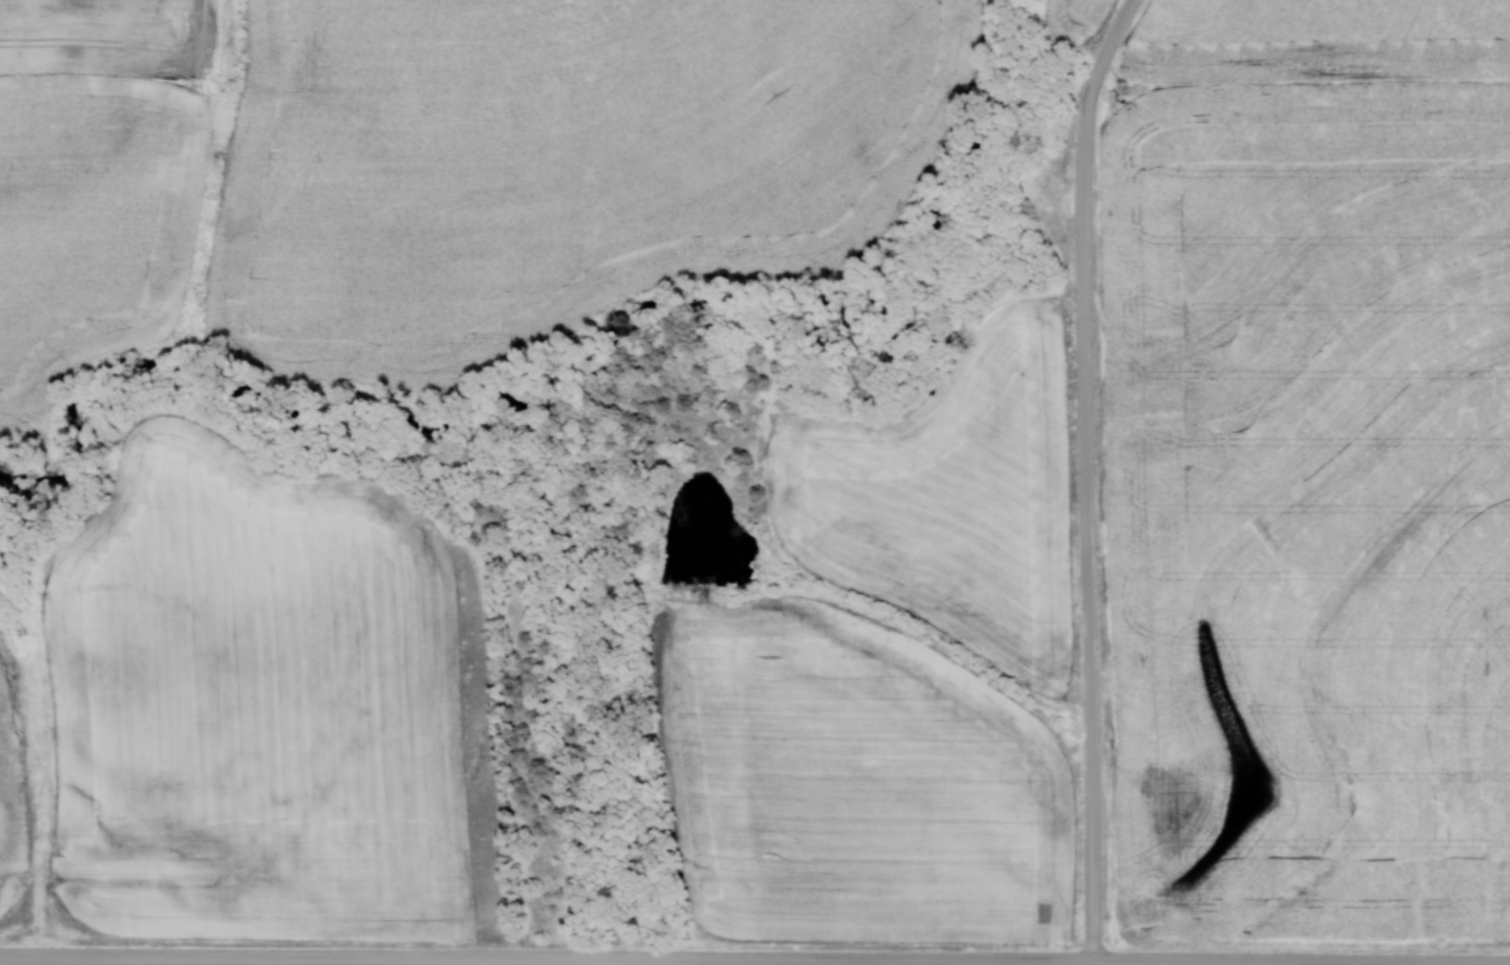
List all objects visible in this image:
road: (1090, 476)
road: (547, 964)

